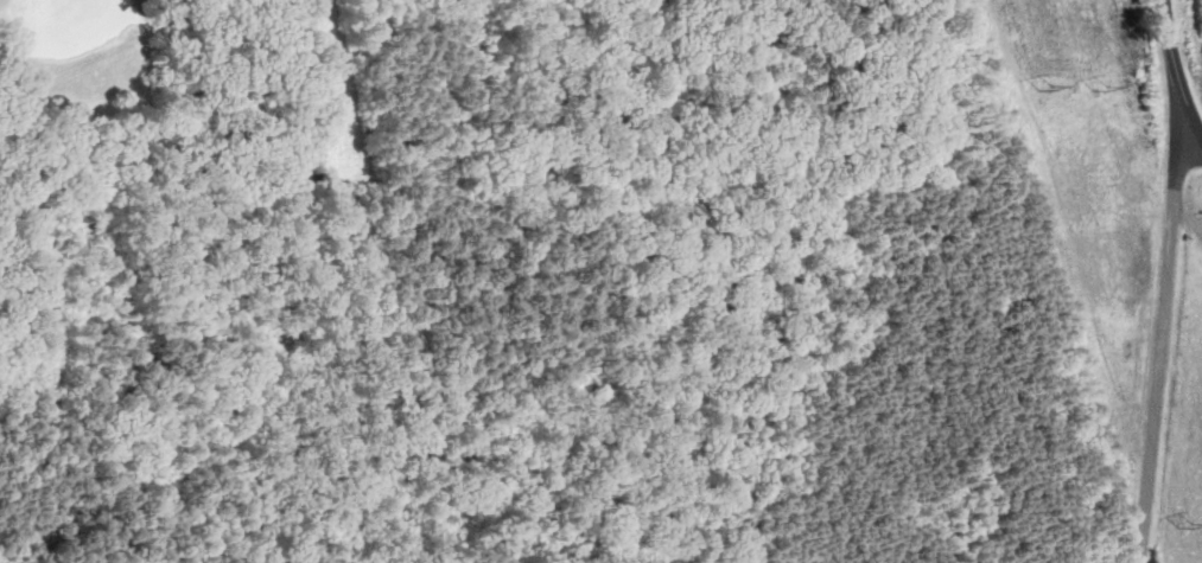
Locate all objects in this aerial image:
road: (1177, 68)
power tower: (1100, 82)
power tower: (1050, 89)
road: (1163, 338)
power tower: (1187, 526)

